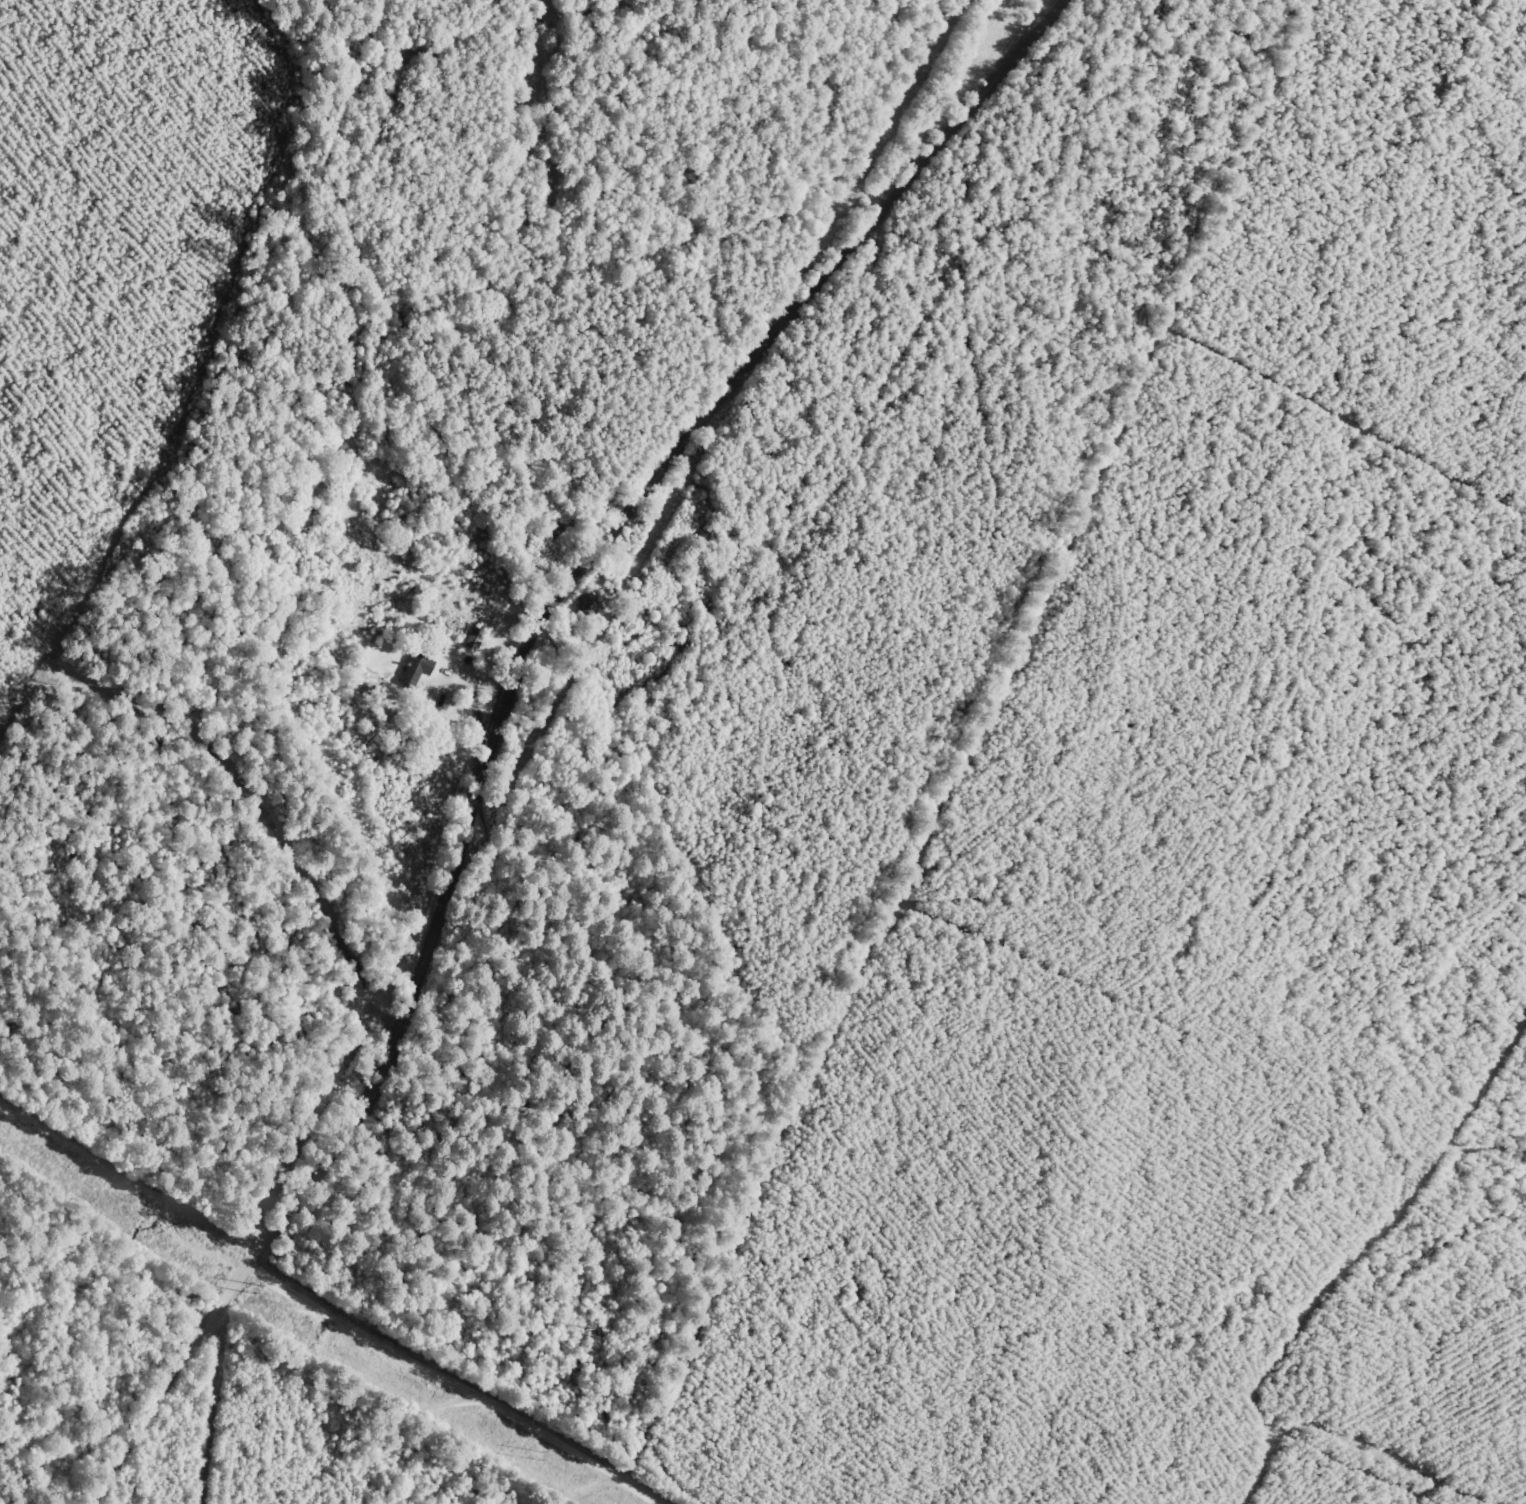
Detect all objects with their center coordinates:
road: (586, 577)
building: (416, 668)
power tower: (259, 1289)
road: (358, 1315)
power tower: (539, 1454)

